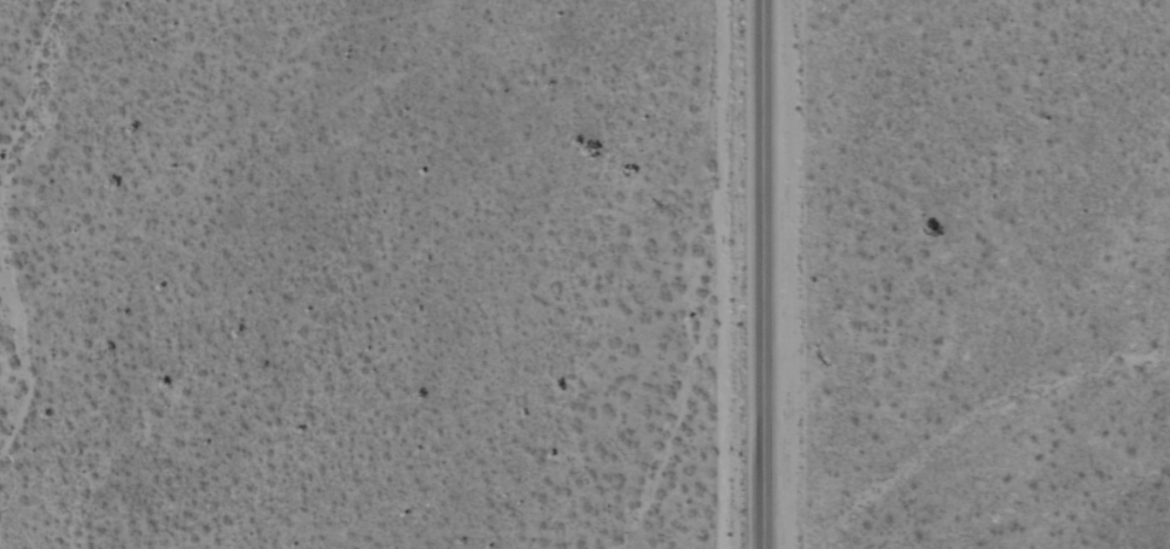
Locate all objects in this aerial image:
road: (762, 274)

